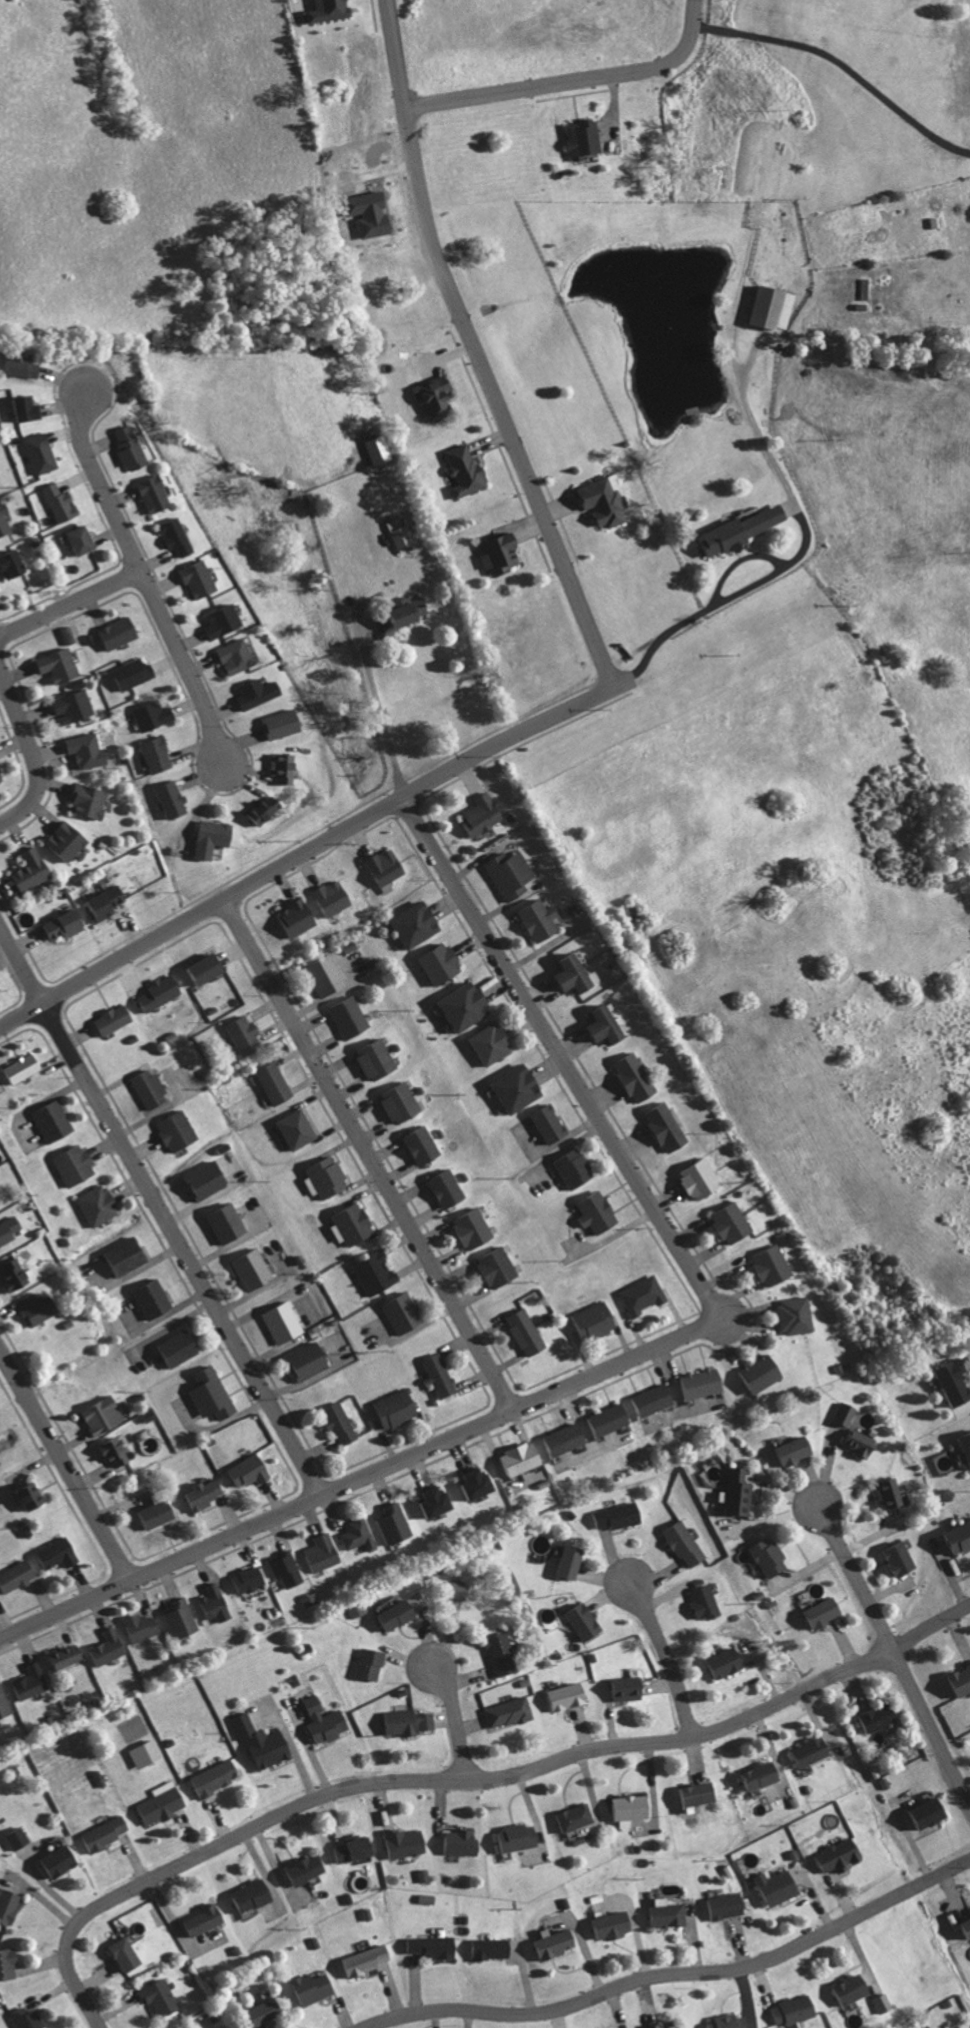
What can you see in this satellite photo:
building: (331, 10)
road: (573, 80)
building: (585, 138)
building: (371, 212)
building: (765, 308)
road: (476, 351)
building: (25, 364)
building: (437, 396)
building: (30, 408)
building: (132, 448)
building: (379, 448)
building: (42, 453)
road: (774, 462)
building: (465, 469)
road: (99, 483)
building: (155, 493)
building: (606, 501)
building: (61, 503)
building: (5, 520)
building: (731, 531)
building: (400, 533)
building: (177, 535)
building: (84, 539)
building: (502, 553)
building: (13, 564)
building: (200, 579)
road: (68, 606)
building: (412, 609)
building: (224, 621)
building: (120, 632)
building: (236, 656)
building: (60, 665)
road: (182, 668)
building: (134, 672)
building: (258, 692)
road: (373, 705)
building: (75, 706)
building: (154, 715)
building: (285, 723)
building: (87, 749)
building: (158, 755)
road: (26, 758)
building: (0, 762)
building: (285, 767)
building: (1, 776)
road: (400, 787)
building: (173, 799)
building: (91, 801)
building: (266, 809)
building: (484, 814)
building: (214, 838)
building: (69, 841)
building: (388, 866)
building: (34, 869)
building: (512, 875)
building: (335, 897)
building: (107, 902)
building: (298, 918)
building: (541, 921)
building: (68, 923)
building: (417, 924)
building: (443, 964)
building: (210, 968)
building: (576, 975)
building: (328, 976)
building: (162, 992)
building: (467, 1006)
building: (350, 1017)
building: (114, 1019)
building: (609, 1026)
building: (246, 1035)
building: (491, 1043)
road: (560, 1054)
building: (377, 1060)
building: (23, 1069)
building: (636, 1078)
building: (276, 1084)
building: (519, 1087)
building: (150, 1089)
building: (401, 1103)
building: (54, 1122)
building: (551, 1124)
building: (668, 1128)
building: (298, 1129)
building: (179, 1131)
building: (423, 1146)
road: (367, 1150)
building: (76, 1166)
building: (575, 1168)
building: (327, 1178)
building: (702, 1178)
building: (209, 1179)
building: (447, 1189)
building: (0, 1203)
building: (99, 1204)
building: (598, 1212)
road: (162, 1214)
building: (229, 1222)
building: (733, 1222)
building: (353, 1223)
building: (473, 1228)
building: (9, 1230)
building: (128, 1254)
building: (773, 1265)
building: (498, 1267)
building: (254, 1269)
building: (376, 1272)
building: (16, 1274)
building: (643, 1295)
building: (154, 1298)
building: (39, 1307)
building: (404, 1313)
building: (796, 1314)
building: (594, 1320)
building: (284, 1322)
building: (527, 1331)
building: (179, 1347)
building: (311, 1360)
building: (762, 1372)
building: (440, 1374)
building: (947, 1380)
building: (703, 1382)
building: (213, 1394)
building: (652, 1399)
building: (397, 1408)
building: (105, 1414)
building: (610, 1418)
building: (340, 1421)
building: (856, 1429)
building: (566, 1438)
building: (962, 1446)
building: (798, 1449)
building: (116, 1451)
building: (521, 1458)
road: (66, 1465)
building: (249, 1470)
road: (360, 1480)
building: (480, 1482)
building: (739, 1491)
building: (891, 1492)
building: (204, 1494)
building: (34, 1496)
building: (439, 1500)
building: (158, 1514)
building: (619, 1515)
building: (395, 1523)
building: (358, 1534)
building: (954, 1536)
building: (686, 1544)
building: (323, 1552)
building: (58, 1553)
building: (770, 1557)
building: (903, 1557)
building: (572, 1560)
building: (287, 1569)
building: (16, 1576)
building: (248, 1579)
building: (705, 1602)
building: (214, 1603)
building: (825, 1611)
building: (398, 1614)
building: (181, 1619)
building: (585, 1621)
building: (141, 1626)
building: (108, 1647)
road: (664, 1651)
road: (891, 1651)
building: (501, 1654)
building: (66, 1656)
building: (727, 1661)
building: (370, 1663)
building: (960, 1680)
building: (31, 1682)
building: (628, 1688)
building: (568, 1696)
building: (4, 1702)
building: (509, 1712)
road: (454, 1714)
building: (878, 1717)
building: (325, 1721)
building: (408, 1721)
building: (264, 1741)
building: (812, 1751)
building: (146, 1753)
building: (762, 1775)
building: (216, 1777)
road: (466, 1781)
building: (698, 1793)
building: (162, 1805)
building: (633, 1807)
building: (576, 1816)
building: (106, 1833)
building: (18, 1837)
building: (519, 1837)
building: (460, 1841)
building: (407, 1842)
building: (352, 1849)
building: (840, 1856)
building: (61, 1861)
building: (307, 1869)
building: (780, 1886)
building: (253, 1895)
building: (427, 1898)
building: (10, 1904)
building: (727, 1905)
building: (668, 1913)
building: (205, 1920)
building: (967, 1922)
building: (614, 1925)
building: (556, 1942)
building: (431, 1946)
building: (492, 1948)
building: (128, 1953)
building: (367, 1960)
building: (8, 1963)
road: (675, 1973)
building: (314, 1987)
building: (851, 1989)
building: (163, 1998)
building: (882, 2003)
building: (266, 2010)
building: (27, 2018)
building: (731, 2021)
building: (655, 2026)
building: (681, 2027)

